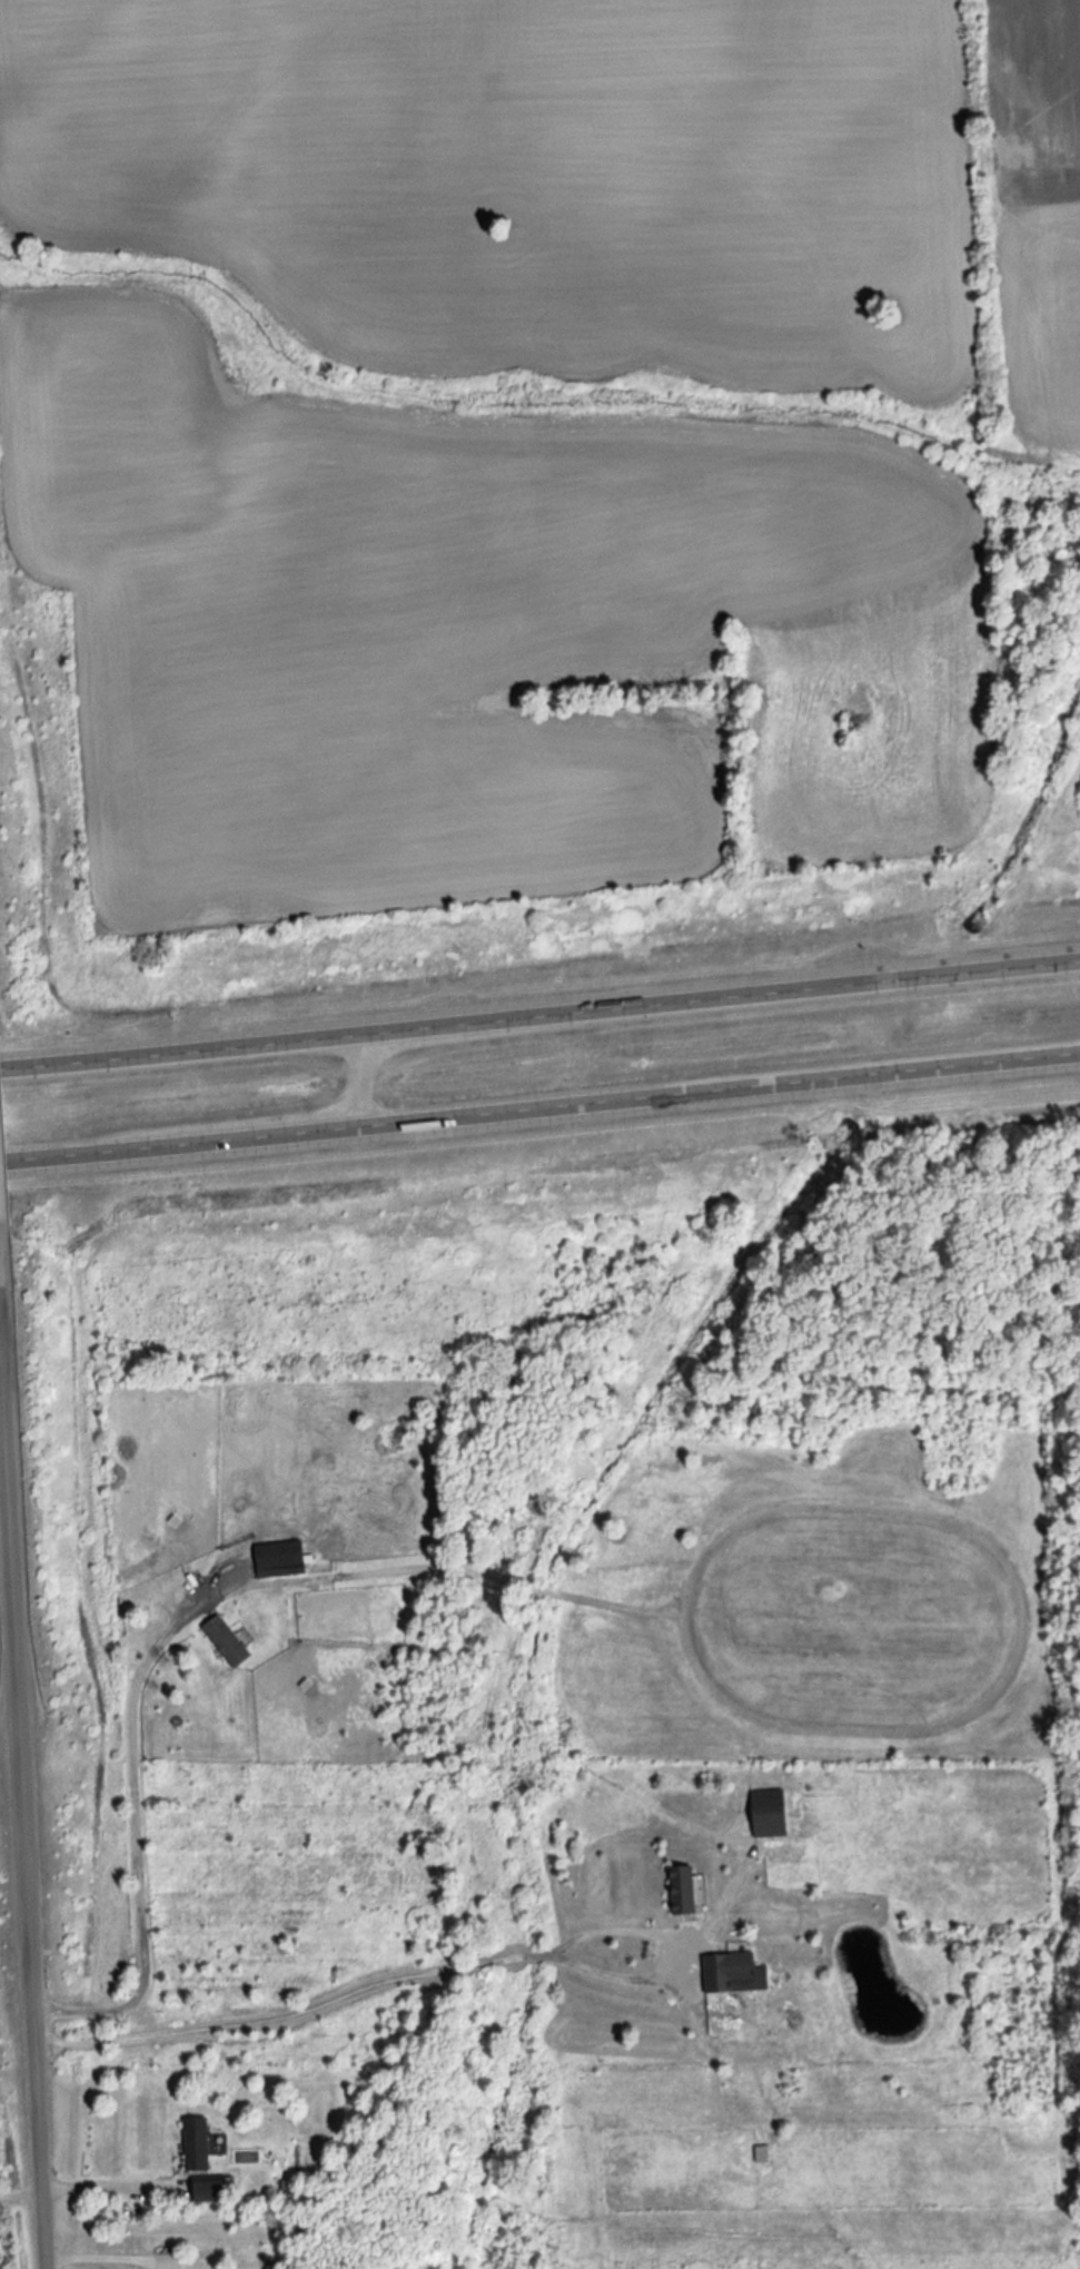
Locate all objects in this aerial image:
road: (539, 1008)
road: (539, 1103)
building: (274, 1559)
building: (220, 1641)
building: (761, 1814)
road: (136, 1856)
building: (678, 1888)
road: (20, 1910)
road: (437, 1966)
building: (729, 1973)
building: (191, 2143)
building: (757, 2153)

